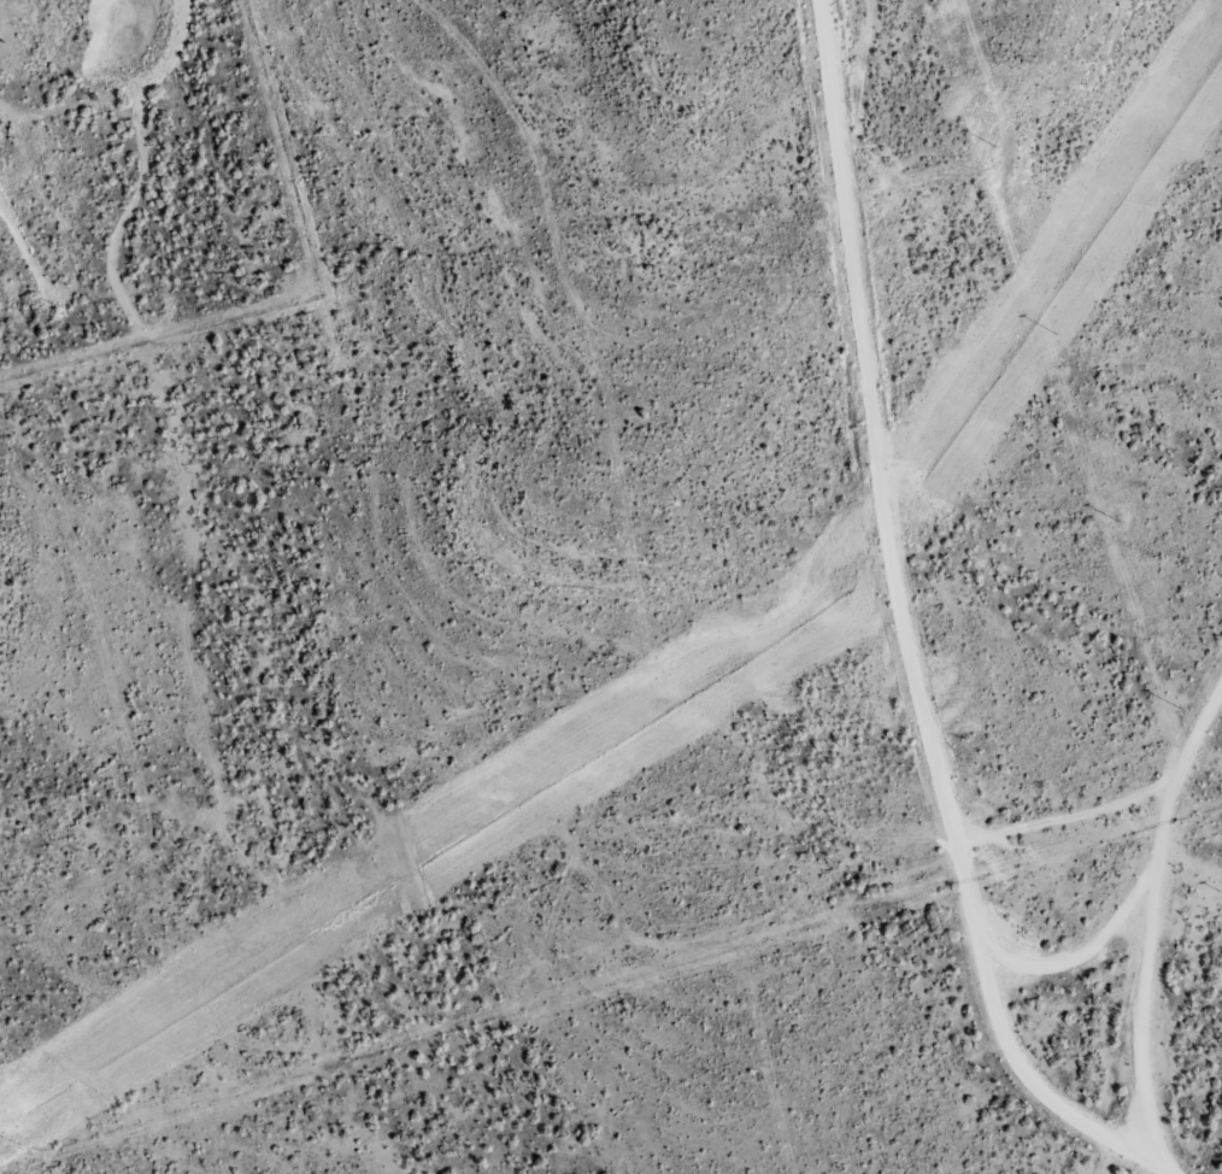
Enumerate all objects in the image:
road: (1126, 902)

